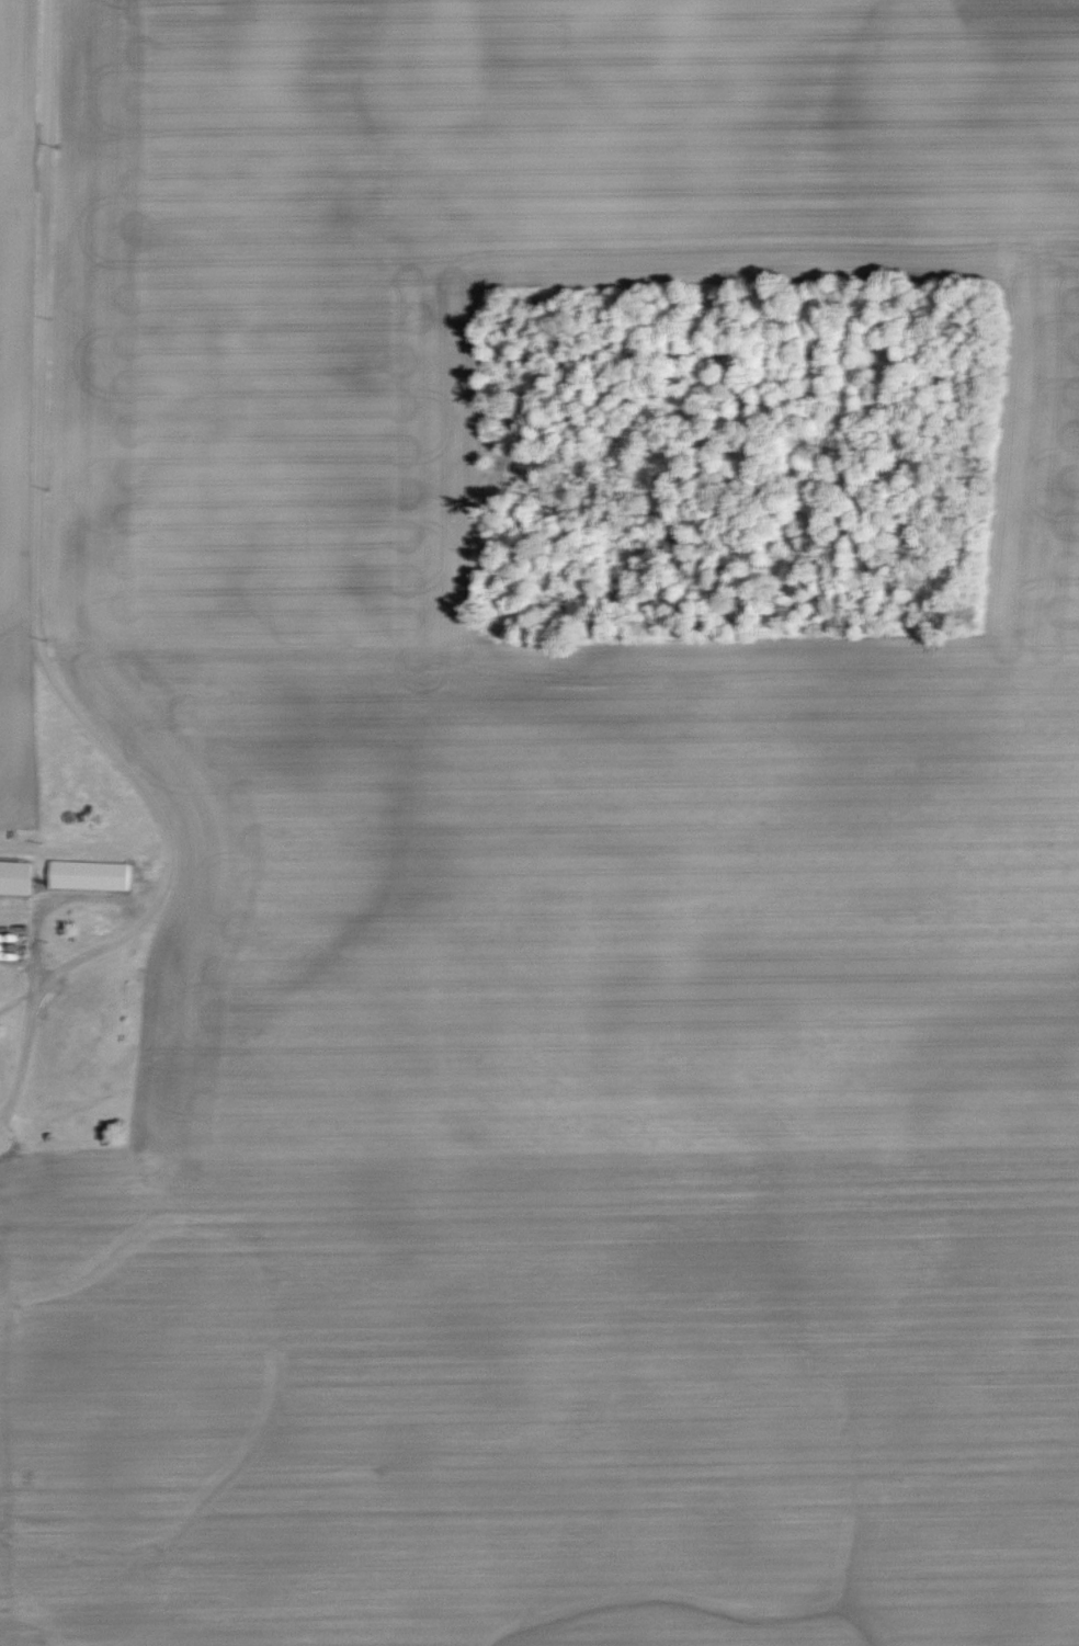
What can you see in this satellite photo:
road: (32, 609)
road: (18, 631)
building: (83, 872)
building: (11, 875)
road: (84, 895)
road: (31, 905)
road: (27, 942)
road: (33, 965)
building: (60, 1040)

